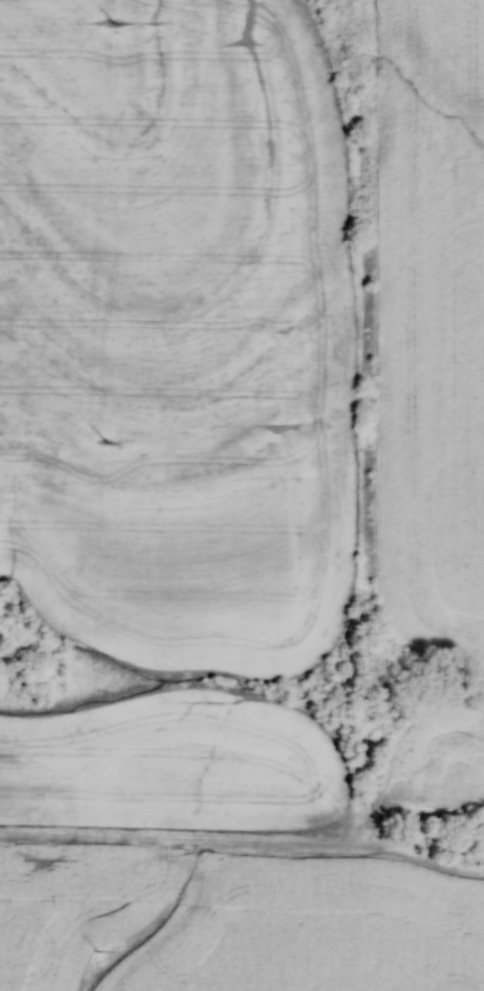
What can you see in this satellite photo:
power tower: (113, 26)
power tower: (106, 446)
power tower: (97, 953)

